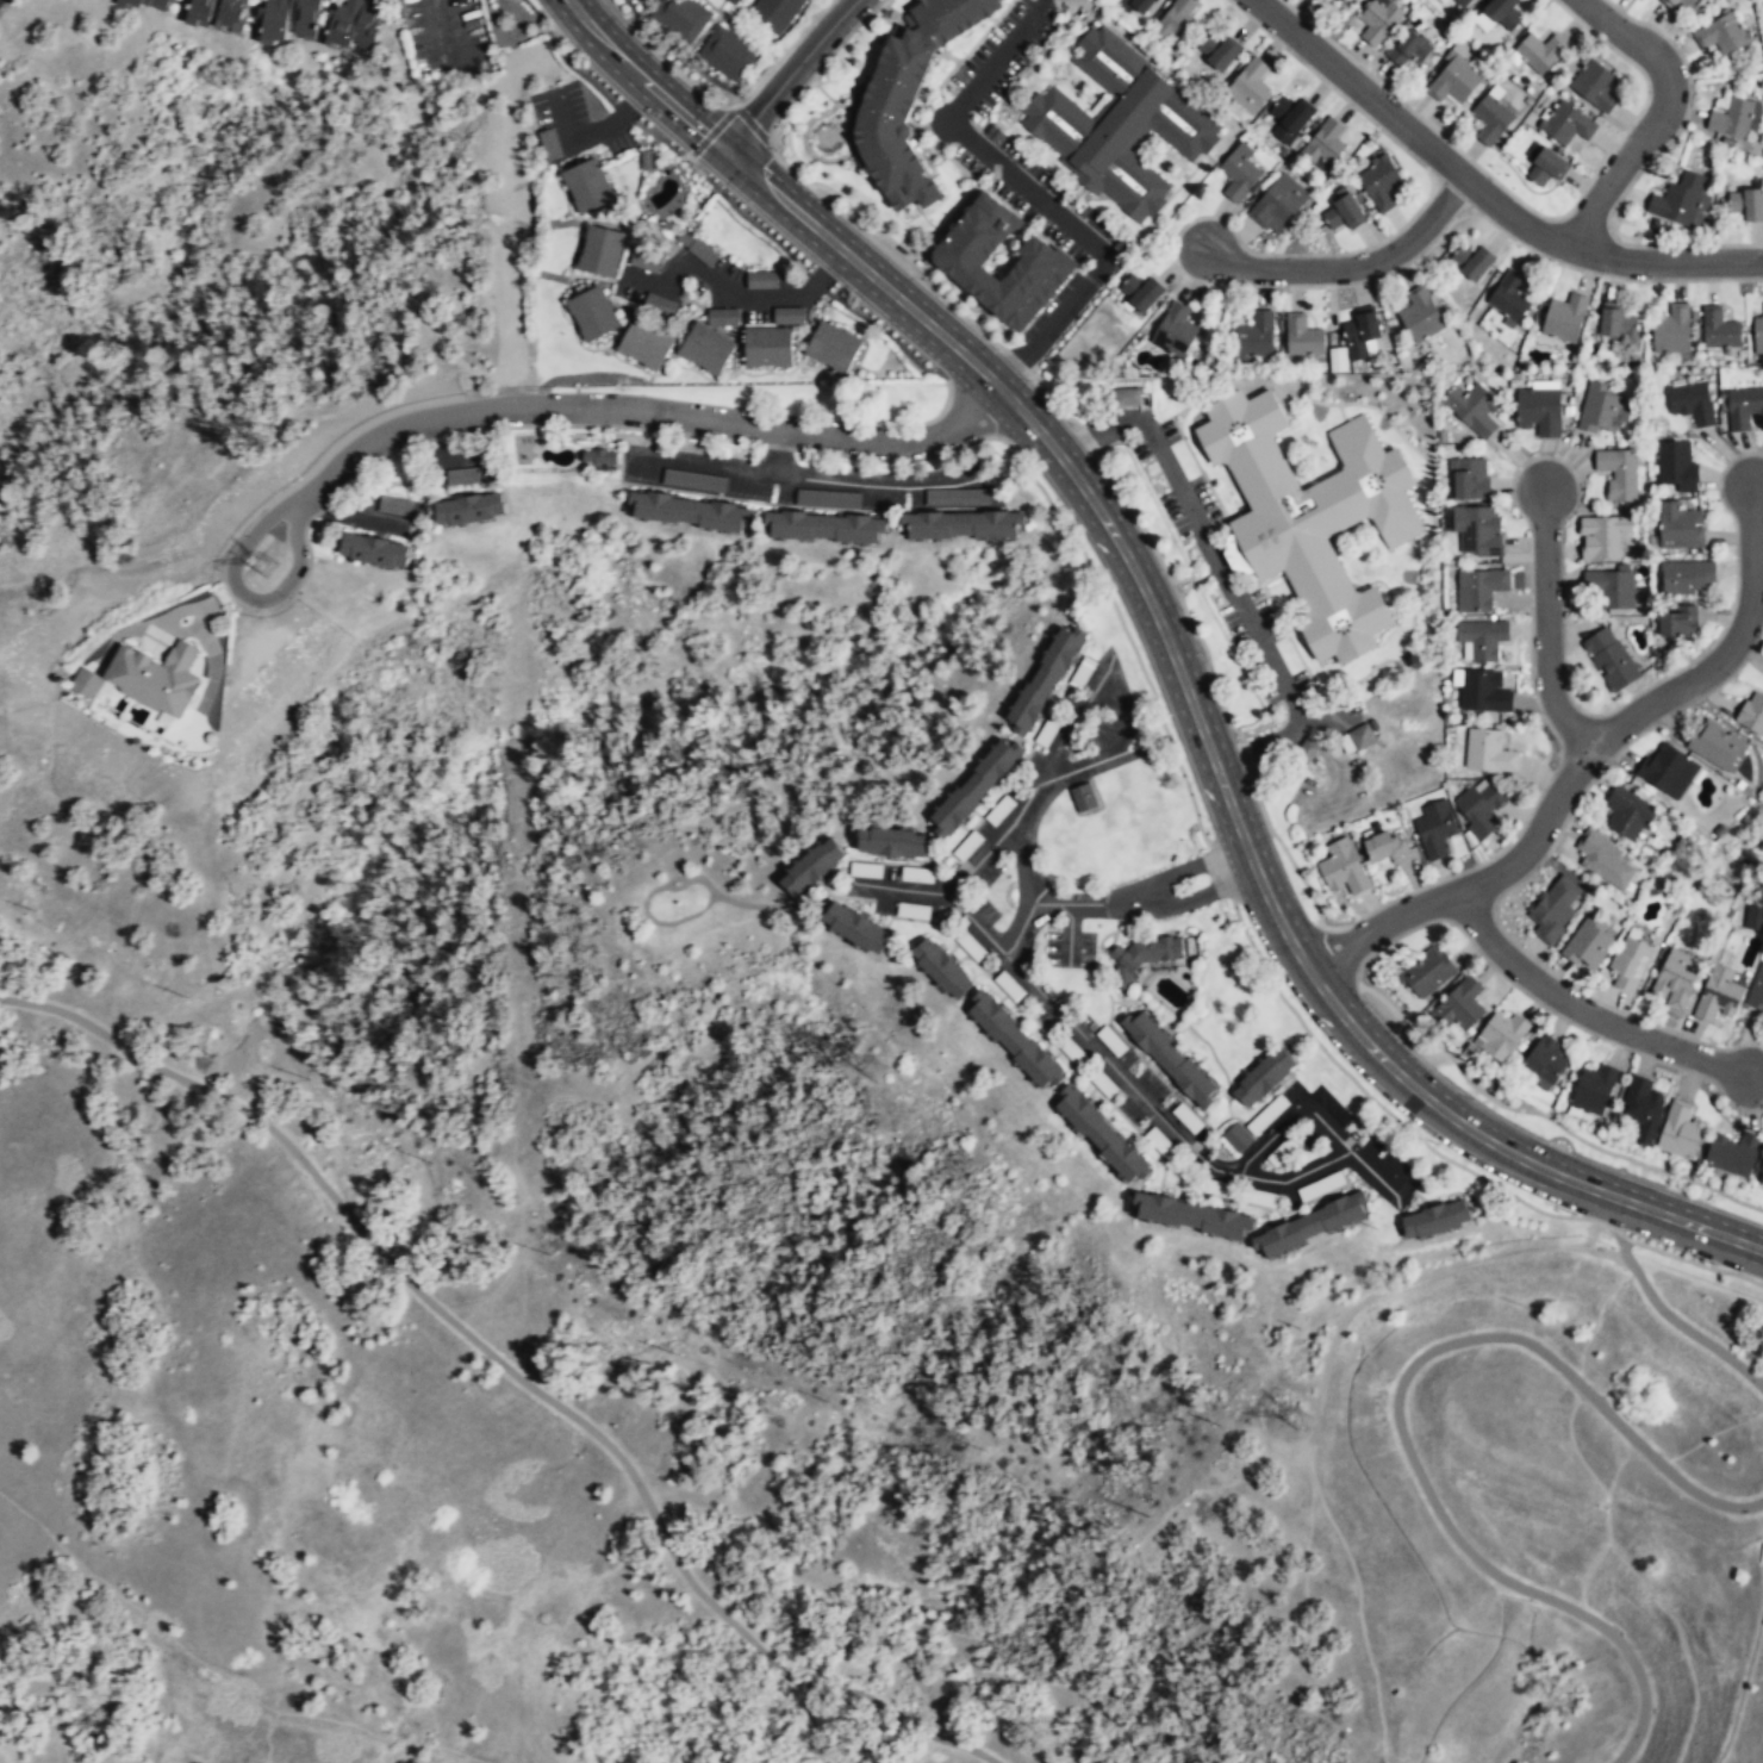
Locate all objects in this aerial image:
building: (1638, 0)
building: (1334, 1)
building: (1440, 1)
building: (118, 2)
building: (733, 2)
building: (1462, 2)
building: (148, 4)
building: (1682, 4)
building: (1138, 6)
building: (213, 13)
building: (775, 14)
building: (1497, 15)
building: (284, 19)
building: (681, 19)
building: (1378, 20)
building: (1177, 21)
building: (350, 24)
road: (443, 26)
building: (1721, 36)
parking lot: (448, 37)
street lamp: (569, 49)
building: (1219, 52)
building: (1409, 52)
road: (784, 54)
building: (1539, 54)
building: (727, 55)
road: (791, 73)
road: (642, 79)
building: (1453, 82)
building: (1250, 86)
building: (1595, 87)
building: (908, 96)
road: (1656, 117)
building: (1491, 118)
building: (1290, 119)
building: (1732, 119)
street lamp: (643, 122)
building: (1117, 125)
building: (1566, 125)
road: (594, 132)
building: (550, 143)
building: (1325, 147)
traffic signals: (725, 149)
building: (649, 160)
building: (1547, 168)
building: (1239, 174)
building: (1379, 183)
building: (588, 185)
road: (1032, 192)
road: (1483, 193)
building: (1678, 200)
building: (1746, 203)
building: (1279, 205)
street lamp: (746, 208)
building: (1343, 214)
building: (602, 250)
building: (700, 250)
park: (198, 262)
building: (1044, 262)
building: (1472, 262)
road: (1351, 266)
building: (760, 279)
street lamp: (836, 287)
building: (1140, 292)
building: (1509, 298)
building: (658, 306)
building: (594, 313)
building: (721, 316)
building: (786, 316)
building: (1421, 316)
building: (1564, 319)
building: (1616, 325)
building: (1175, 331)
building: (1671, 331)
building: (1719, 331)
building: (1359, 336)
building: (1757, 336)
building: (1256, 337)
building: (1302, 337)
building: (647, 344)
building: (771, 344)
building: (835, 344)
building: (709, 348)
street lamp: (922, 359)
building: (1335, 359)
building: (1127, 397)
building: (1690, 403)
building: (1597, 410)
building: (1742, 410)
building: (1474, 411)
road: (643, 412)
building: (1539, 412)
street lamp: (618, 430)
street lamp: (462, 438)
street lamp: (753, 448)
street lamp: (941, 456)
building: (599, 459)
building: (1676, 467)
building: (1618, 475)
building: (462, 478)
building: (1468, 480)
street lamp: (351, 488)
building: (955, 497)
building: (827, 498)
building: (690, 507)
building: (469, 510)
building: (1310, 517)
building: (964, 521)
building: (827, 523)
building: (1680, 529)
building: (1477, 532)
building: (1602, 540)
building: (374, 552)
power tower: (266, 562)
road: (232, 569)
road: (1096, 577)
building: (1686, 578)
building: (1478, 590)
building: (1611, 590)
street lamp: (292, 599)
road: (1547, 624)
building: (1678, 624)
building: (1481, 641)
road: (1730, 647)
building: (1611, 659)
building: (1082, 672)
building: (1045, 675)
road: (1102, 677)
building: (156, 678)
building: (1482, 693)
building: (1752, 712)
building: (1357, 739)
building: (1717, 747)
road: (1208, 750)
building: (1306, 750)
building: (1488, 753)
building: (1664, 770)
building: (974, 785)
building: (1083, 797)
building: (1478, 806)
building: (999, 810)
building: (1627, 815)
building: (1435, 829)
building: (892, 842)
building: (1387, 848)
building: (1605, 860)
road: (978, 862)
road: (1026, 862)
building: (812, 866)
road: (1185, 866)
building: (1341, 868)
road: (677, 885)
road: (1475, 885)
road: (1196, 897)
road: (1053, 903)
building: (1553, 909)
building: (1755, 920)
building: (858, 927)
building: (1589, 943)
building: (1141, 959)
building: (1630, 966)
building: (942, 967)
building: (1427, 972)
building: (1676, 980)
building: (1757, 989)
building: (1718, 996)
building: (1459, 1008)
road: (1583, 1011)
building: (1501, 1035)
building: (1015, 1040)
building: (1170, 1059)
building: (1546, 1063)
power tower: (872, 1071)
road: (1117, 1071)
building: (1263, 1077)
building: (1593, 1091)
building: (1643, 1109)
road: (1292, 1114)
building: (1681, 1132)
building: (1101, 1135)
building: (1160, 1144)
street lamp: (1440, 1144)
building: (1733, 1154)
building: (1761, 1179)
building: (1192, 1216)
building: (1435, 1220)
building: (1309, 1226)
road: (1692, 1261)
street lamp: (1717, 1264)
road: (1664, 1312)
park: (729, 1363)
road: (515, 1371)
road: (1396, 1410)
power tower: (1294, 1420)

